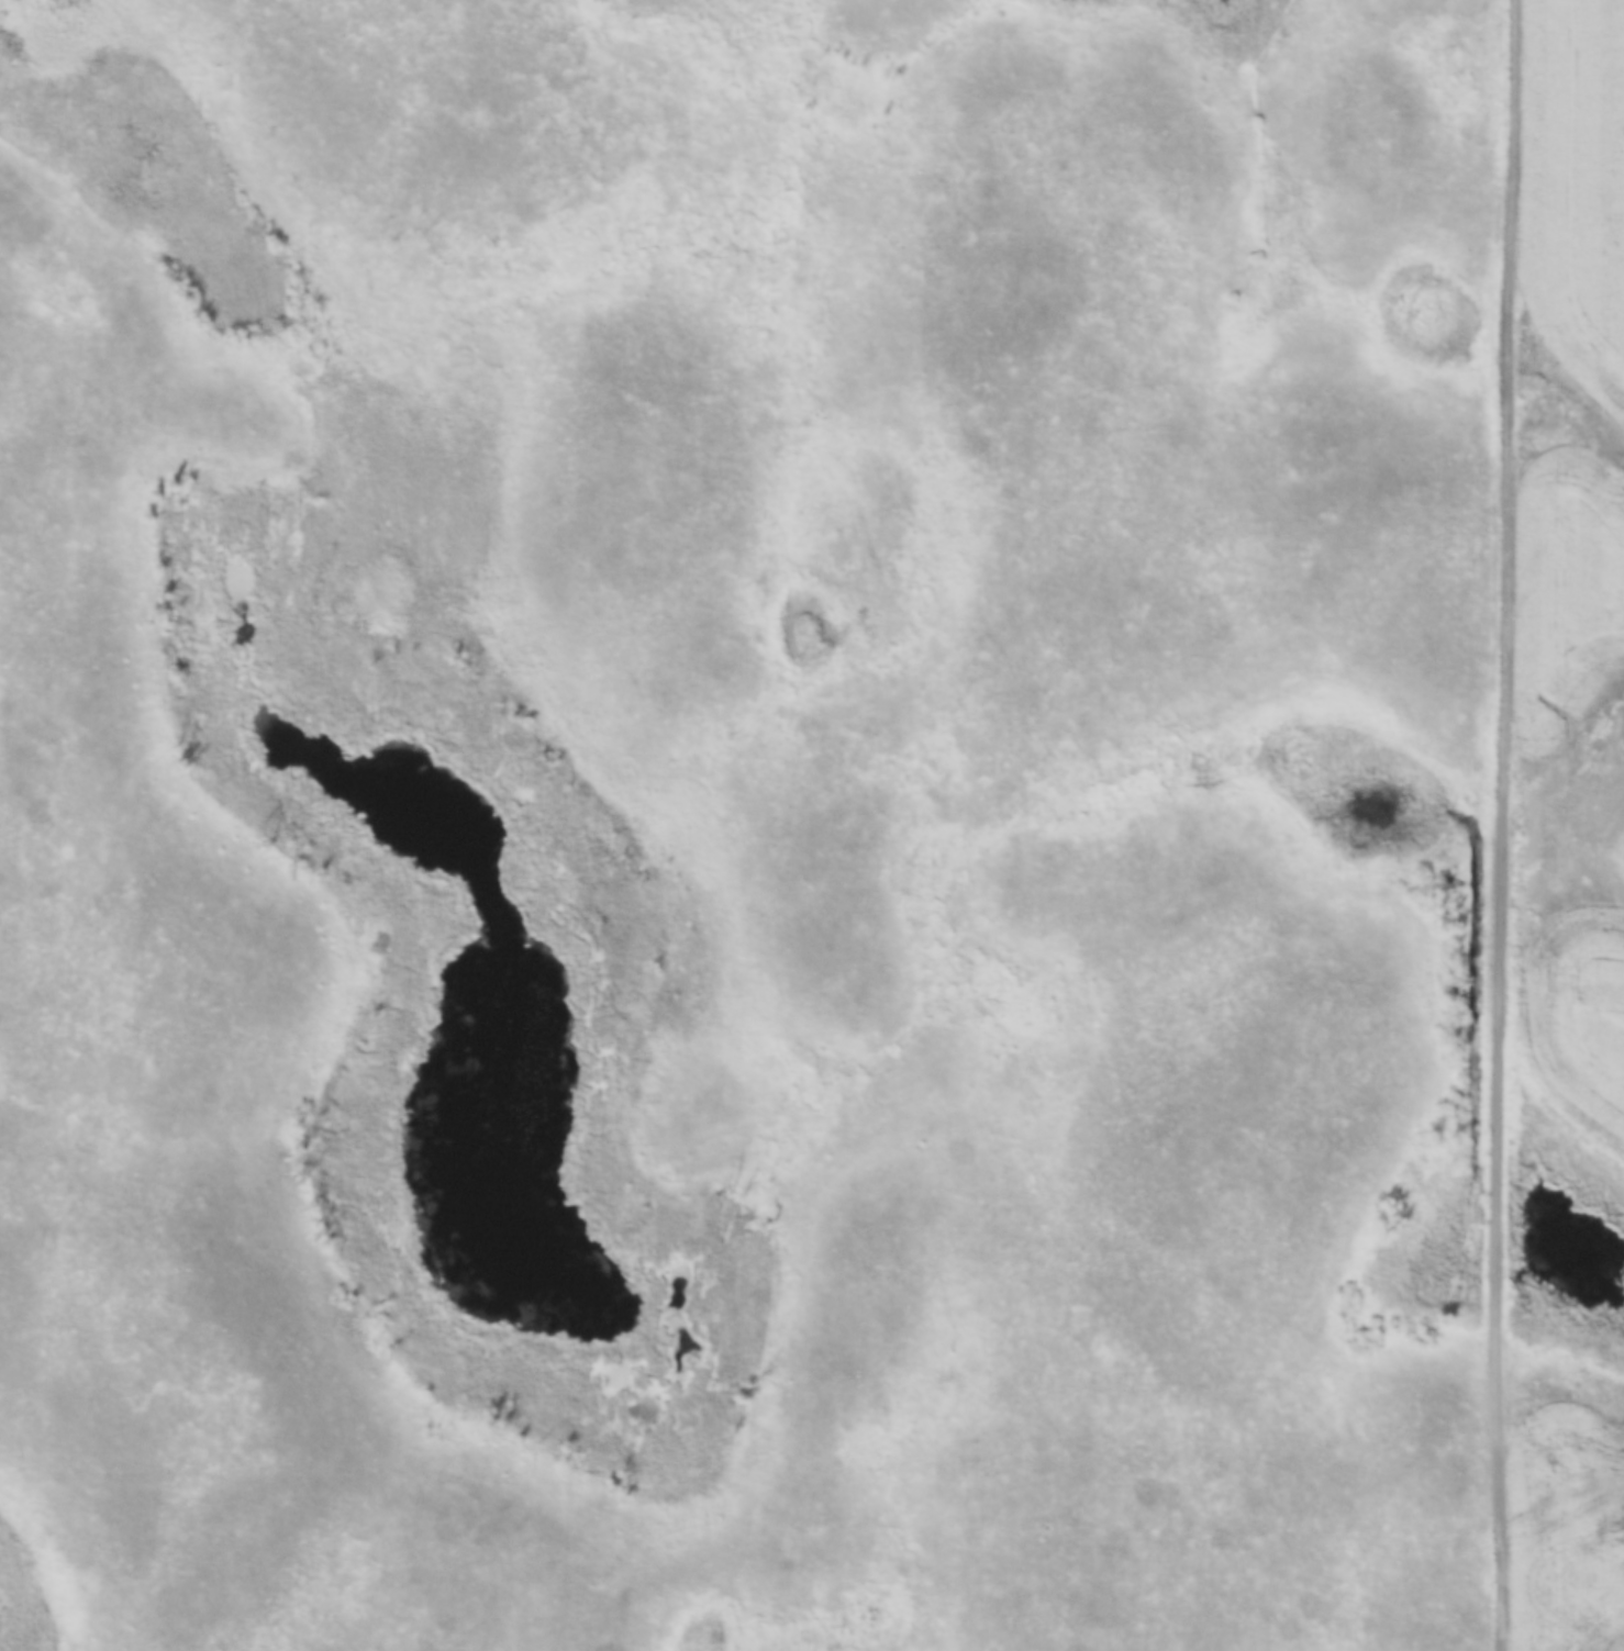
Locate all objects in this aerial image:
road: (1500, 825)

